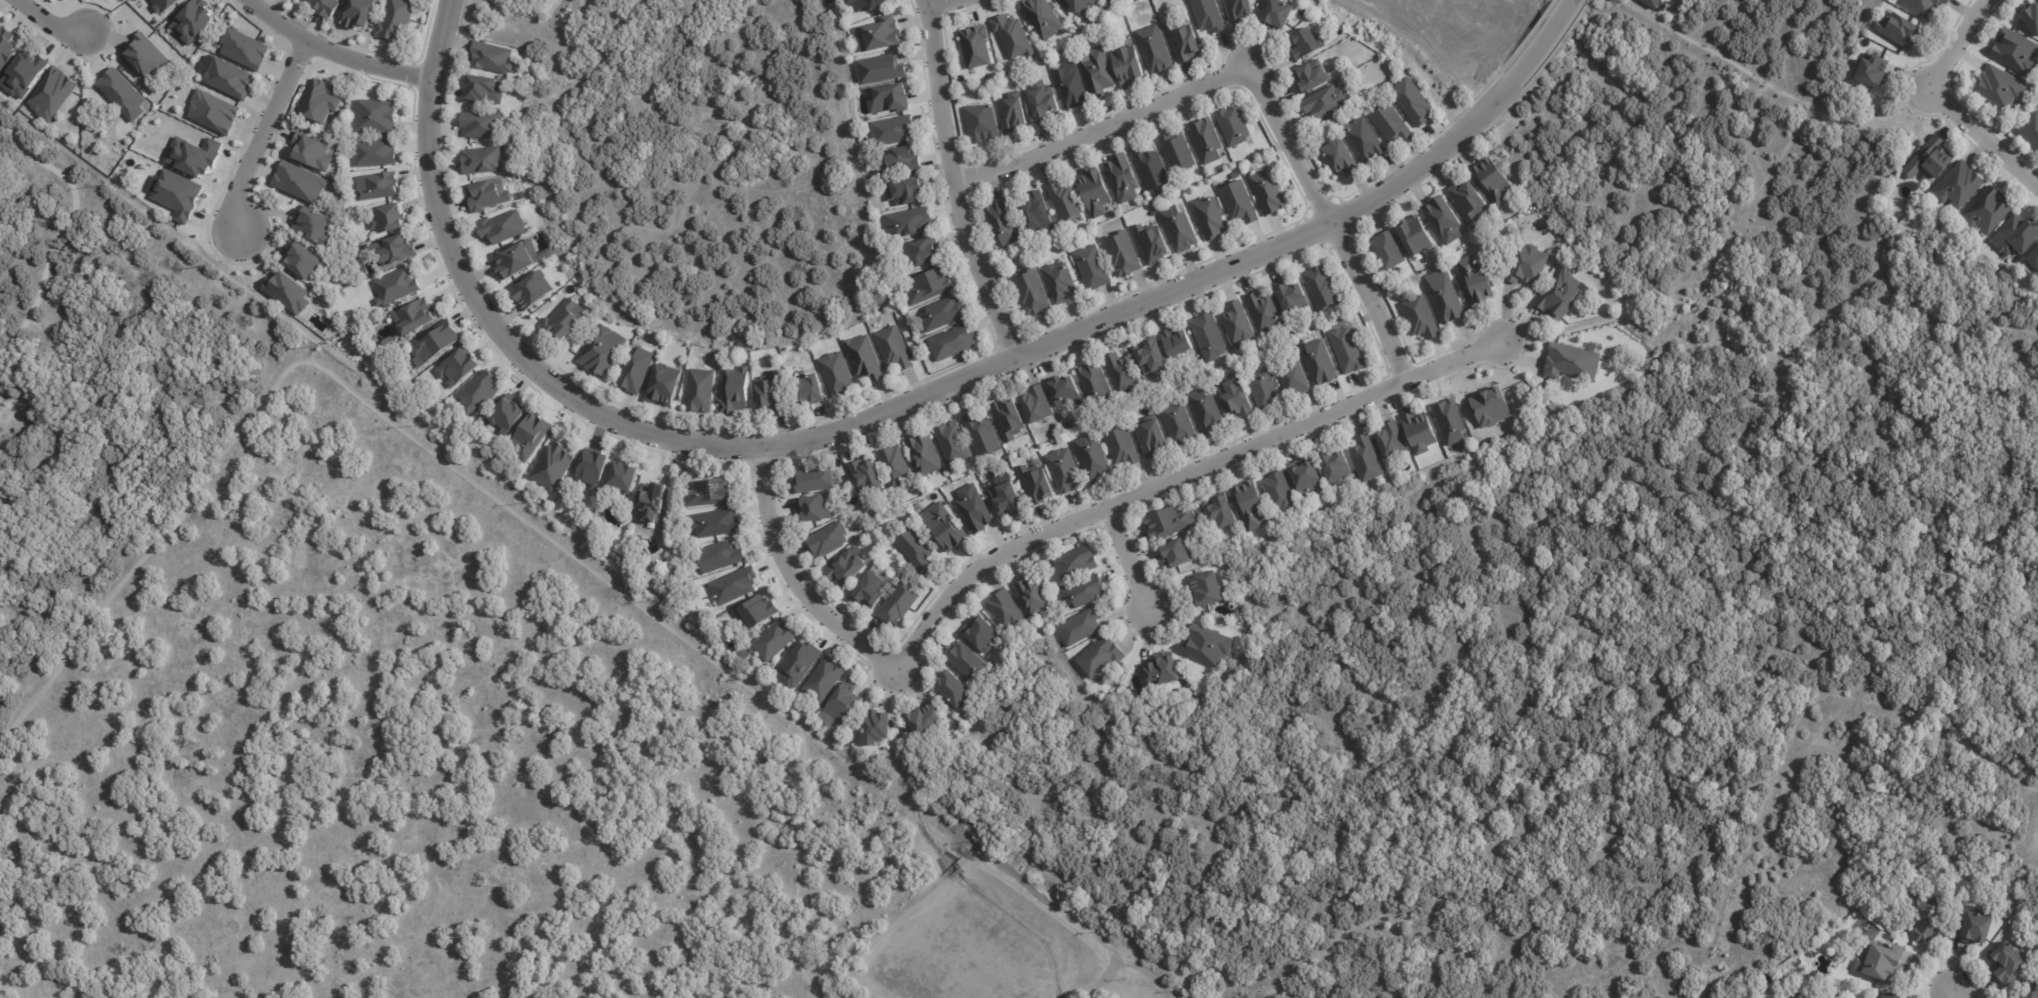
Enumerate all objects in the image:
building: (1652, 3)
building: (870, 4)
road: (942, 4)
building: (1076, 4)
building: (164, 5)
building: (325, 6)
building: (1924, 6)
building: (1237, 10)
building: (357, 13)
building: (1276, 14)
building: (1205, 15)
building: (2029, 16)
building: (1042, 18)
building: (399, 19)
building: (193, 20)
road: (49, 22)
building: (1897, 29)
building: (883, 34)
building: (1010, 38)
building: (1181, 42)
road: (1964, 42)
building: (1303, 45)
building: (6, 46)
building: (973, 48)
building: (244, 49)
building: (1155, 50)
building: (2014, 50)
road: (333, 52)
building: (145, 54)
building: (496, 58)
building: (1126, 67)
building: (883, 69)
building: (1870, 71)
building: (1098, 72)
building: (24, 74)
building: (227, 77)
building: (1309, 77)
building: (1998, 86)
building: (486, 89)
building: (1068, 90)
road: (1775, 90)
building: (53, 93)
building: (123, 93)
building: (891, 97)
building: (319, 101)
building: (1040, 102)
building: (1411, 102)
building: (1324, 103)
building: (213, 111)
building: (1013, 115)
building: (378, 116)
road: (758, 122)
building: (485, 124)
building: (981, 124)
building: (1389, 124)
building: (1235, 126)
building: (897, 129)
road: (1102, 129)
building: (2030, 130)
road: (263, 137)
road: (1985, 137)
building: (1208, 140)
building: (1365, 140)
building: (314, 152)
building: (376, 152)
building: (1179, 152)
building: (195, 155)
building: (1339, 158)
building: (1931, 159)
building: (485, 160)
building: (902, 162)
park: (698, 163)
building: (1152, 168)
building: (1237, 175)
building: (1125, 179)
building: (1495, 180)
building: (300, 182)
road: (956, 183)
building: (379, 185)
building: (1957, 185)
building: (908, 191)
building: (1096, 191)
building: (1269, 192)
building: (176, 193)
building: (491, 194)
building: (1242, 201)
building: (1469, 201)
building: (1066, 202)
building: (1986, 210)
building: (1038, 213)
building: (390, 218)
building: (1211, 218)
building: (1446, 221)
building: (913, 222)
building: (1003, 222)
road: (1326, 223)
building: (314, 225)
building: (505, 227)
building: (1180, 228)
building: (2014, 235)
road: (61, 237)
building: (1417, 237)
building: (1154, 243)
building: (398, 250)
building: (926, 252)
building: (1390, 253)
building: (1123, 254)
building: (2032, 258)
building: (519, 259)
building: (305, 261)
building: (1528, 264)
building: (1095, 267)
building: (1478, 281)
building: (1060, 283)
building: (398, 286)
building: (932, 287)
building: (1323, 289)
building: (536, 291)
building: (287, 292)
building: (1033, 292)
building: (1563, 293)
building: (1294, 297)
building: (1447, 298)
building: (946, 314)
building: (1266, 314)
building: (416, 316)
building: (1422, 318)
building: (566, 320)
building: (378, 321)
building: (1239, 323)
building: (1212, 337)
building: (439, 341)
building: (954, 342)
building: (1181, 343)
building: (897, 348)
building: (604, 350)
building: (1350, 351)
building: (1155, 357)
building: (868, 358)
building: (1570, 361)
building: (1319, 362)
building: (708, 363)
building: (461, 368)
building: (639, 371)
building: (1122, 373)
building: (840, 374)
building: (1294, 378)
building: (671, 383)
building: (1096, 384)
building: (814, 389)
building: (703, 390)
building: (1065, 390)
building: (739, 391)
building: (1266, 391)
building: (481, 392)
building: (774, 393)
building: (1237, 399)
road: (901, 405)
building: (1039, 406)
building: (1489, 406)
building: (1208, 412)
building: (510, 414)
building: (1010, 420)
building: (1452, 422)
building: (1182, 423)
building: (1422, 432)
building: (983, 435)
building: (534, 436)
building: (1153, 438)
building: (956, 444)
building: (1394, 444)
building: (1126, 446)
building: (927, 454)
building: (1095, 458)
building: (1368, 461)
building: (555, 465)
building: (898, 466)
building: (595, 467)
building: (1339, 468)
building: (1067, 471)
building: (625, 475)
road: (464, 476)
road: (1183, 476)
building: (1309, 476)
building: (869, 478)
building: (817, 480)
building: (1040, 484)
building: (1283, 492)
building: (714, 493)
building: (1007, 496)
building: (931, 498)
building: (654, 503)
building: (1253, 507)
building: (817, 508)
building: (978, 510)
building: (1223, 511)
building: (718, 523)
building: (1172, 523)
building: (950, 528)
building: (831, 540)
building: (919, 549)
building: (621, 552)
building: (1179, 552)
building: (723, 556)
building: (1078, 563)
road: (1129, 566)
building: (850, 568)
road: (793, 578)
building: (737, 586)
building: (1212, 589)
building: (875, 592)
building: (1086, 592)
building: (774, 597)
building: (1034, 597)
building: (900, 604)
building: (1008, 610)
building: (759, 611)
building: (1082, 627)
building: (982, 633)
building: (777, 640)
building: (1210, 646)
building: (1103, 656)
building: (969, 660)
building: (802, 662)
building: (1163, 669)
building: (826, 680)
building: (957, 690)
building: (847, 705)
building: (930, 722)
building: (882, 729)
park: (416, 757)
road: (977, 857)
building: (1926, 917)
building: (1975, 927)
building: (1879, 959)
building: (2007, 961)
building: (2030, 990)
building: (1890, 995)
road: (1955, 996)
building: (1832, 997)

